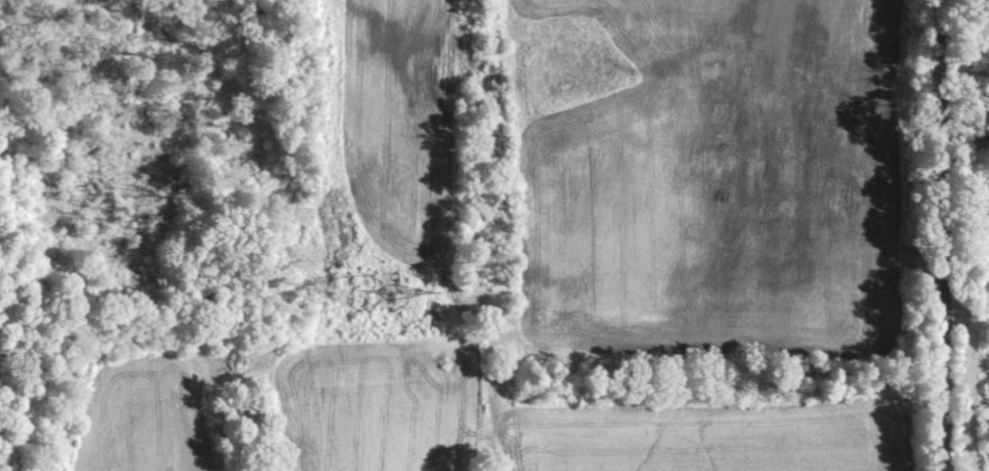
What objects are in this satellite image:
road: (946, 235)
power tower: (380, 288)

